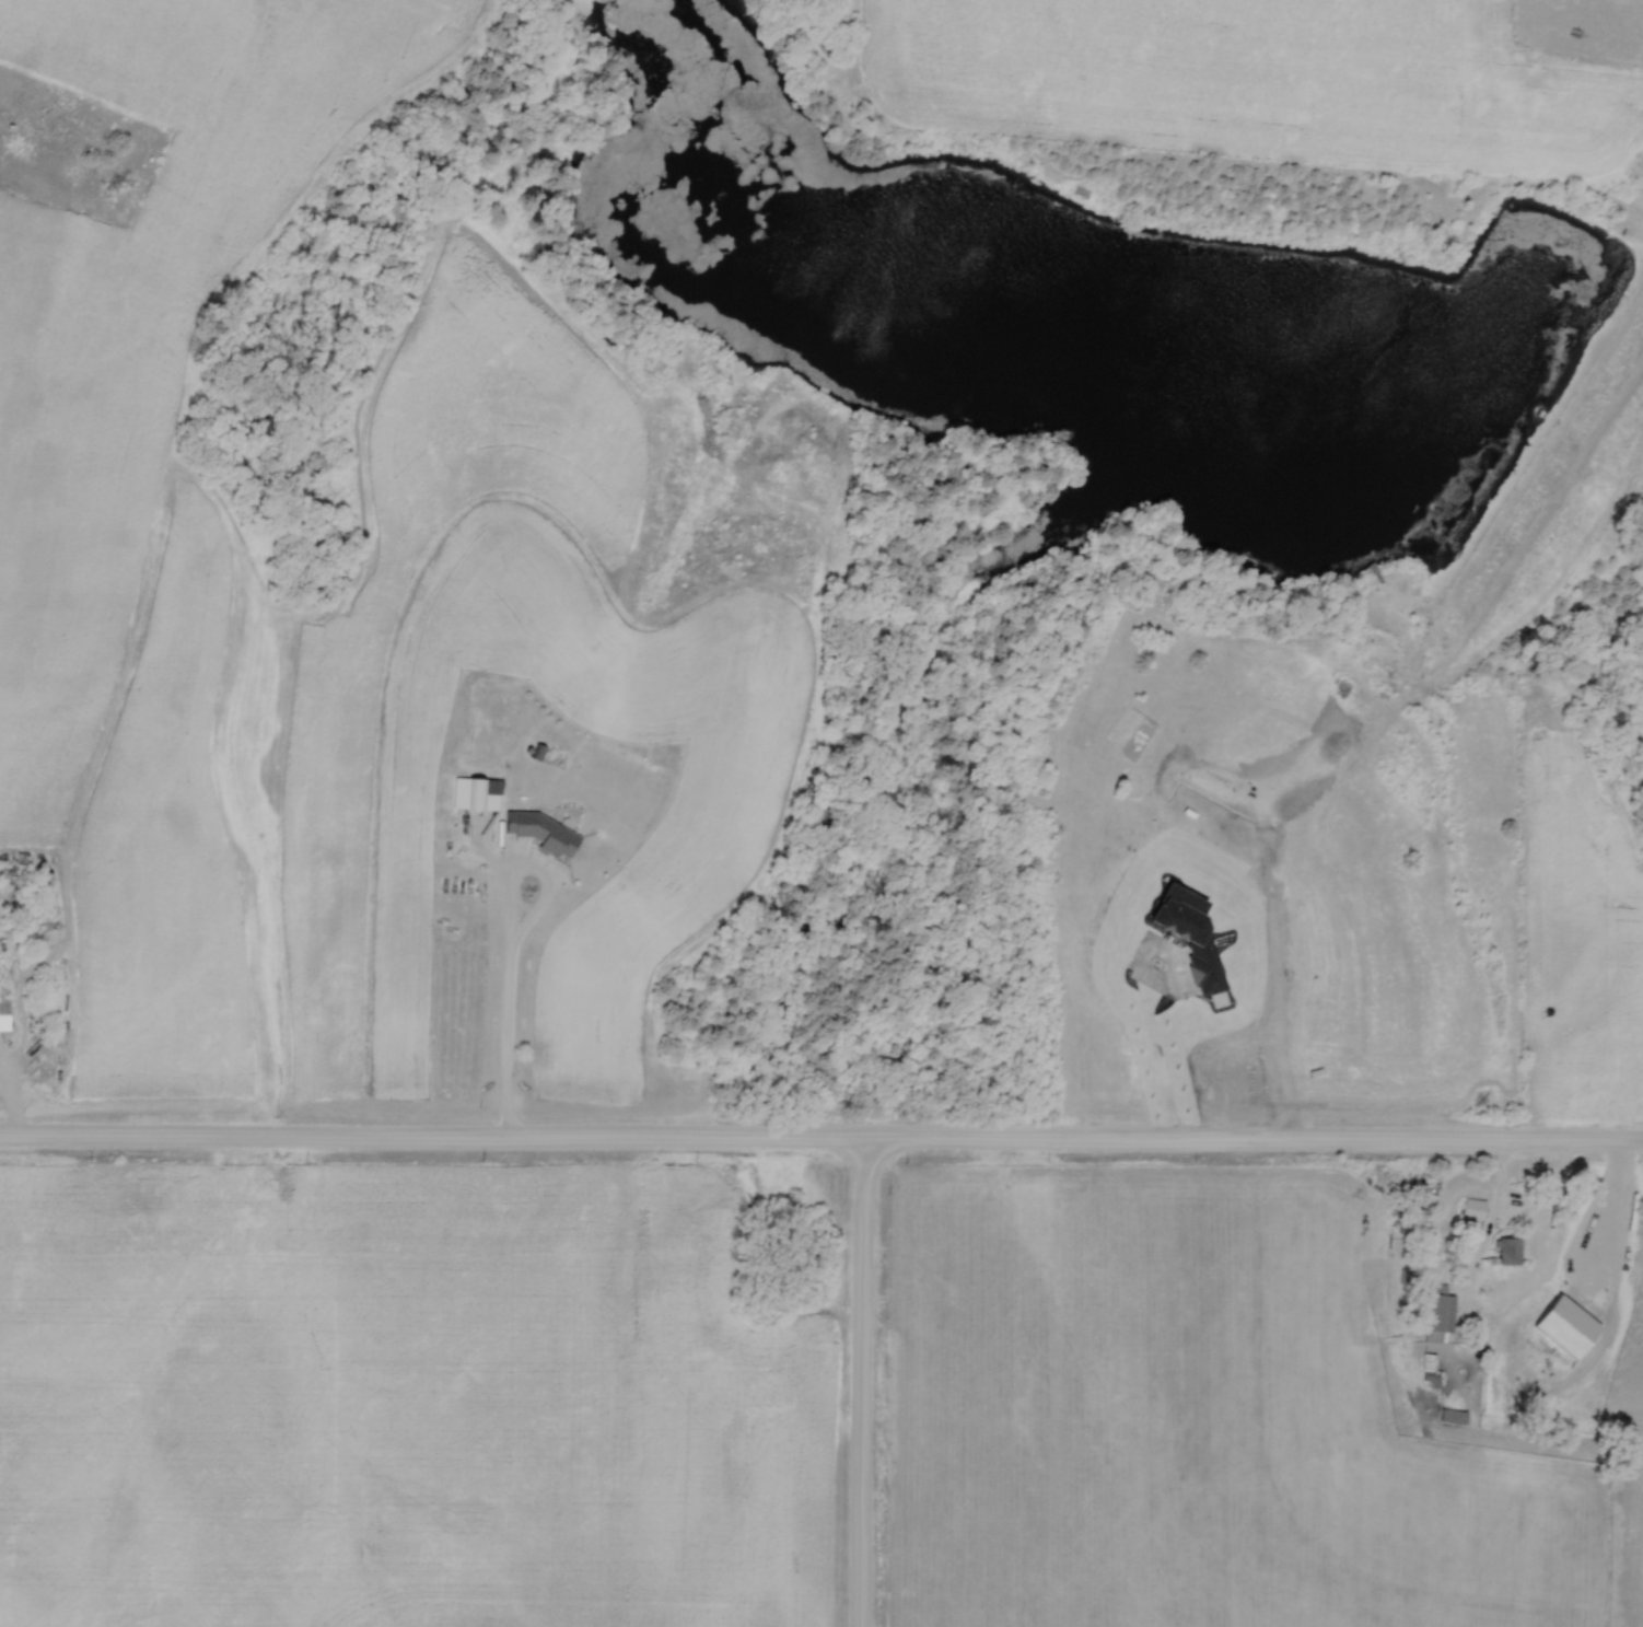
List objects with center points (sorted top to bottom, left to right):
dam: (1523, 487)
building: (467, 794)
building: (540, 834)
road: (520, 874)
road: (508, 1036)
road: (5, 1111)
road: (821, 1139)
building: (1472, 1211)
road: (1520, 1218)
building: (1505, 1255)
building: (1437, 1314)
road: (861, 1383)
building: (1452, 1418)

